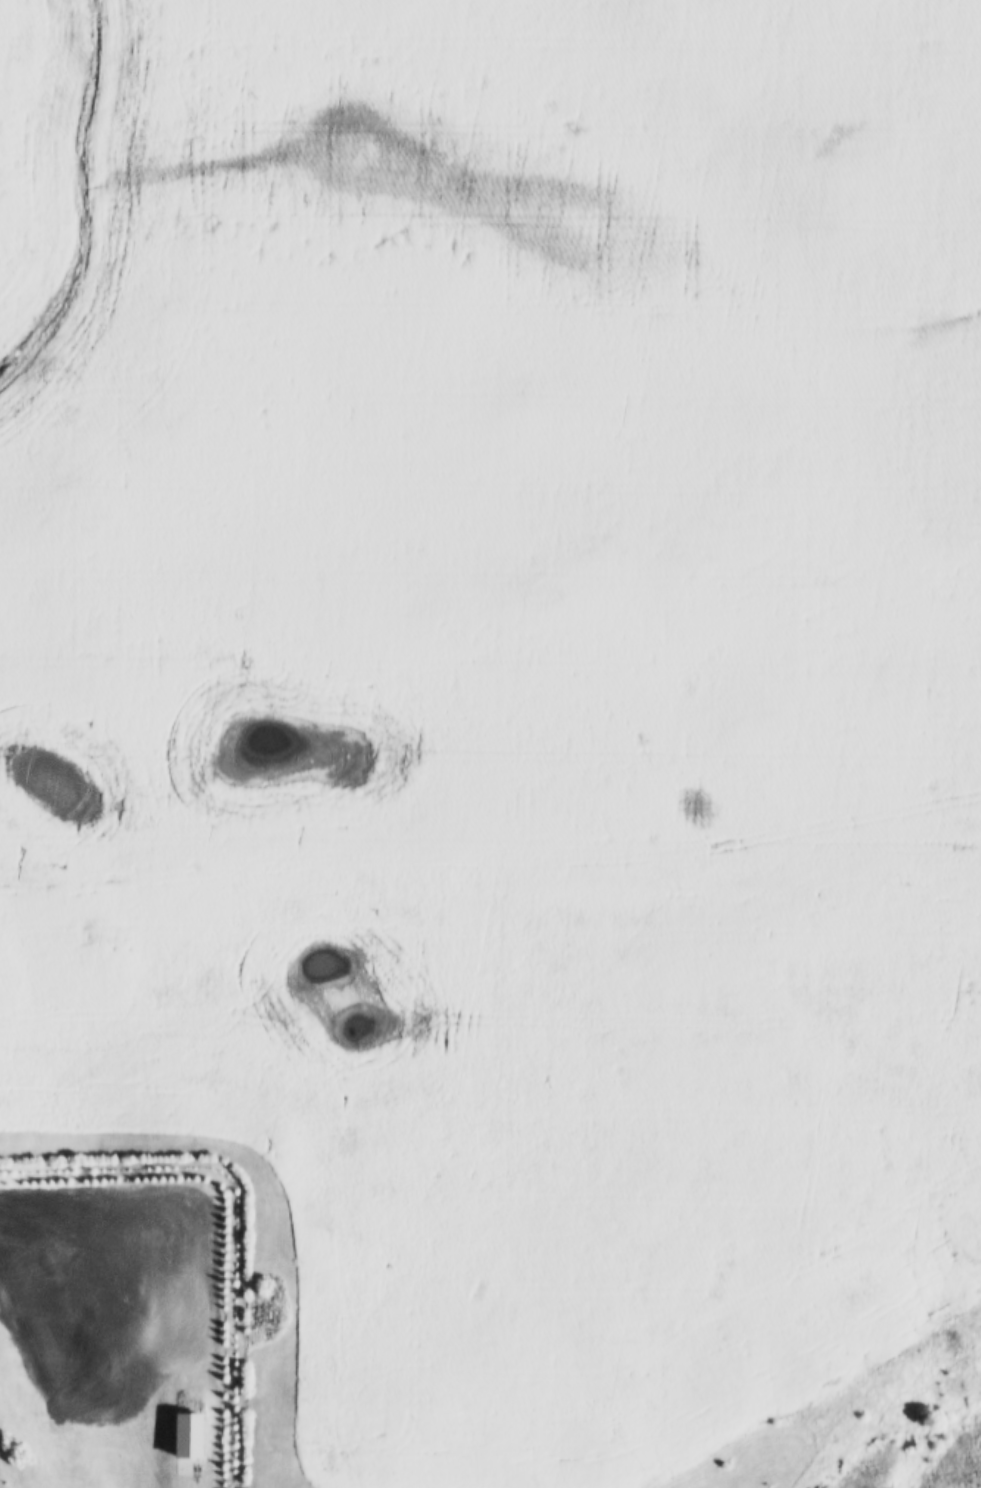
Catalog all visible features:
building: (185, 1432)

